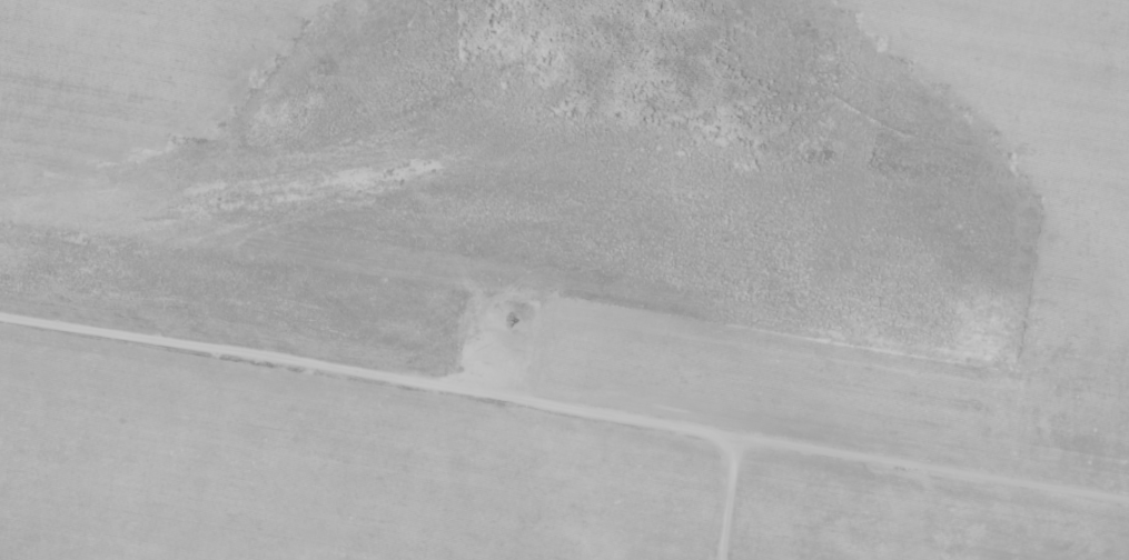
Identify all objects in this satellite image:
road: (564, 406)

